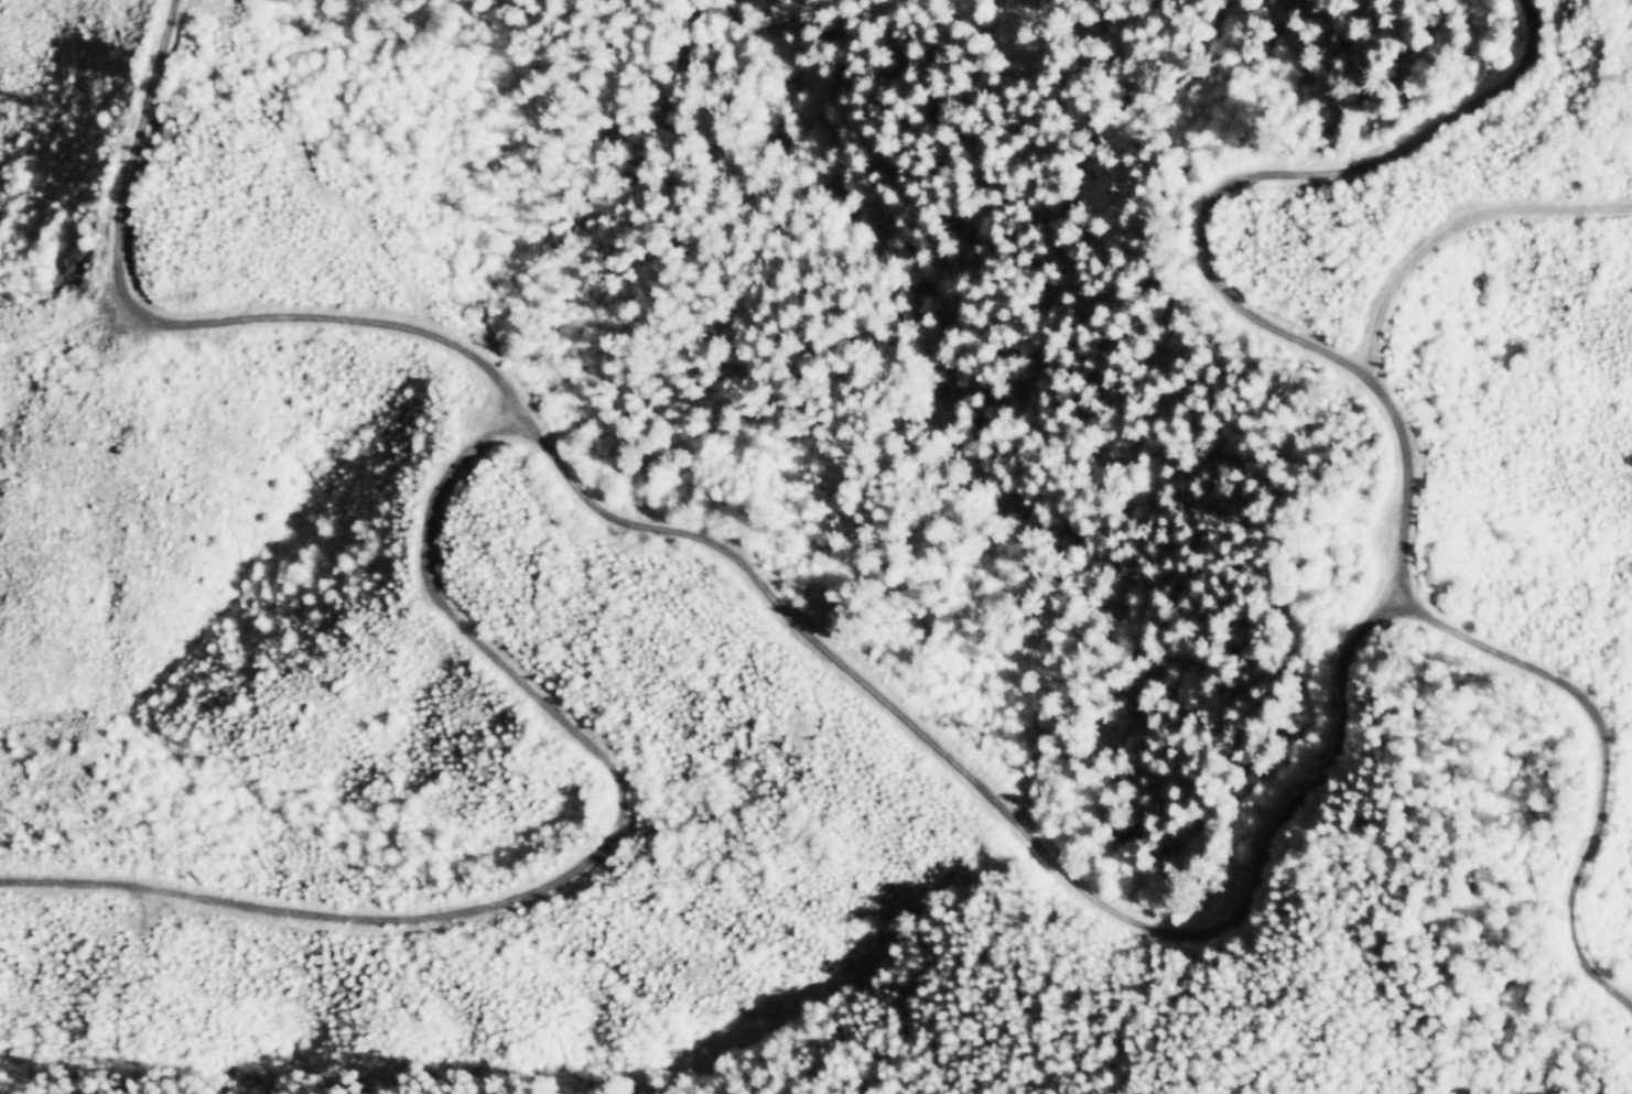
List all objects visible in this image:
road: (1320, 354)
road: (748, 573)
road: (463, 646)
road: (1585, 902)
road: (483, 908)

